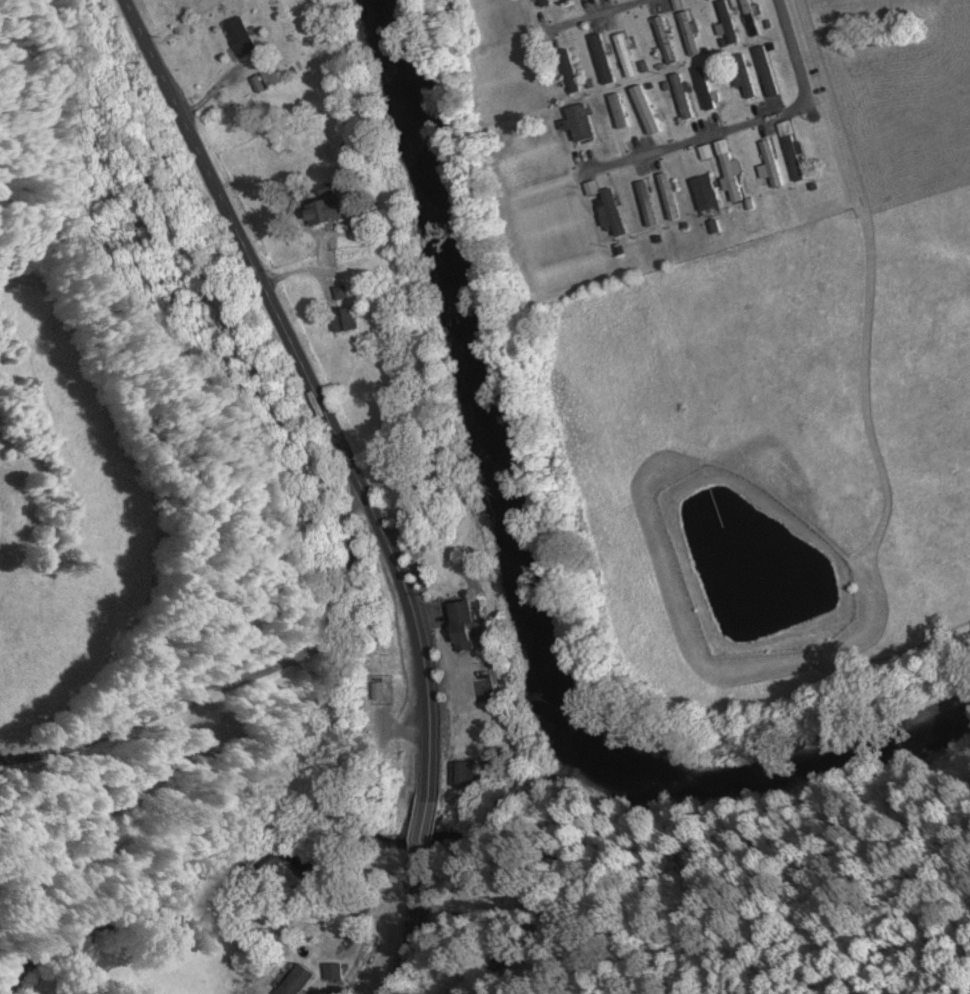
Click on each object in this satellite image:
road: (596, 15)
road: (795, 53)
road: (700, 140)
road: (264, 285)
river: (524, 574)
road: (429, 784)

